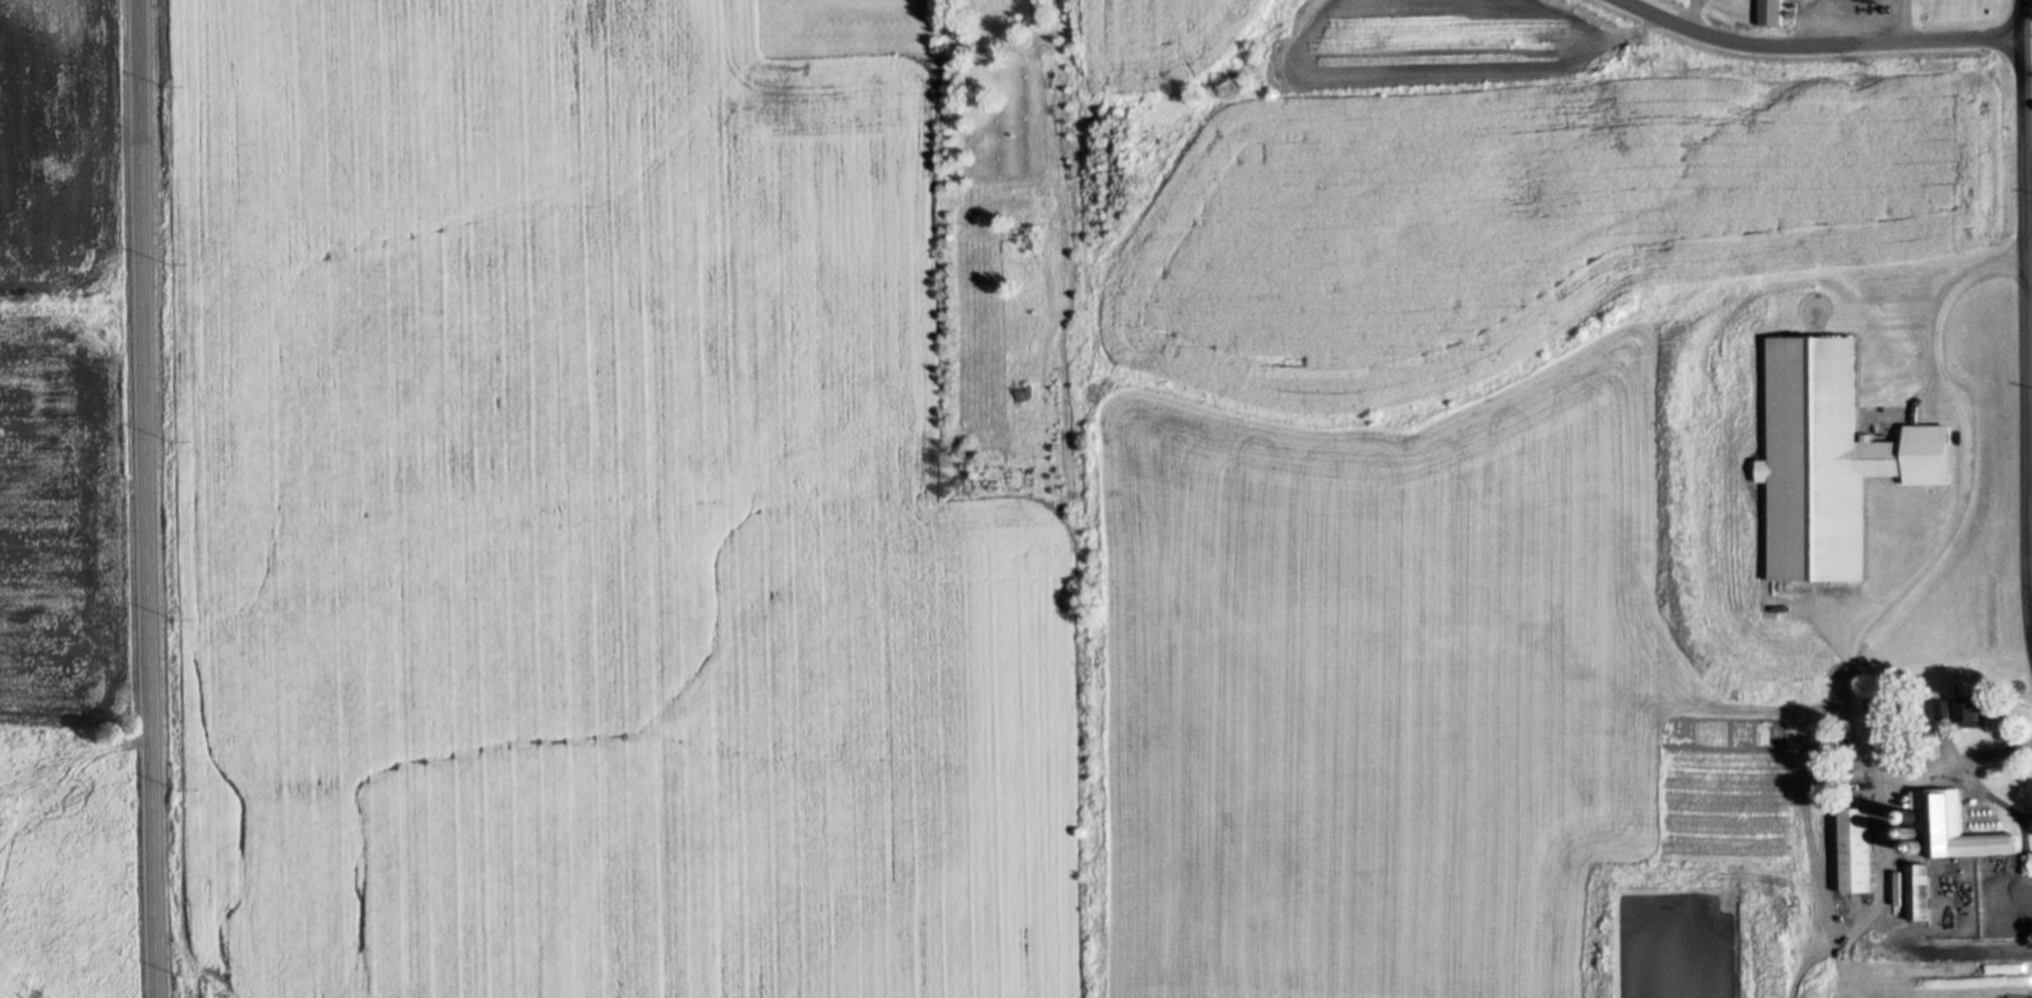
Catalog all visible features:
building: (1771, 11)
road: (1900, 21)
road: (1816, 47)
road: (2025, 306)
road: (148, 499)
road: (1917, 573)
building: (1883, 705)
building: (1964, 709)
building: (1841, 745)
building: (1918, 761)
building: (1951, 825)
building: (1917, 844)
building: (1858, 849)
building: (2028, 862)
road: (1884, 891)
building: (1920, 891)
building: (1901, 917)
building: (1872, 933)

